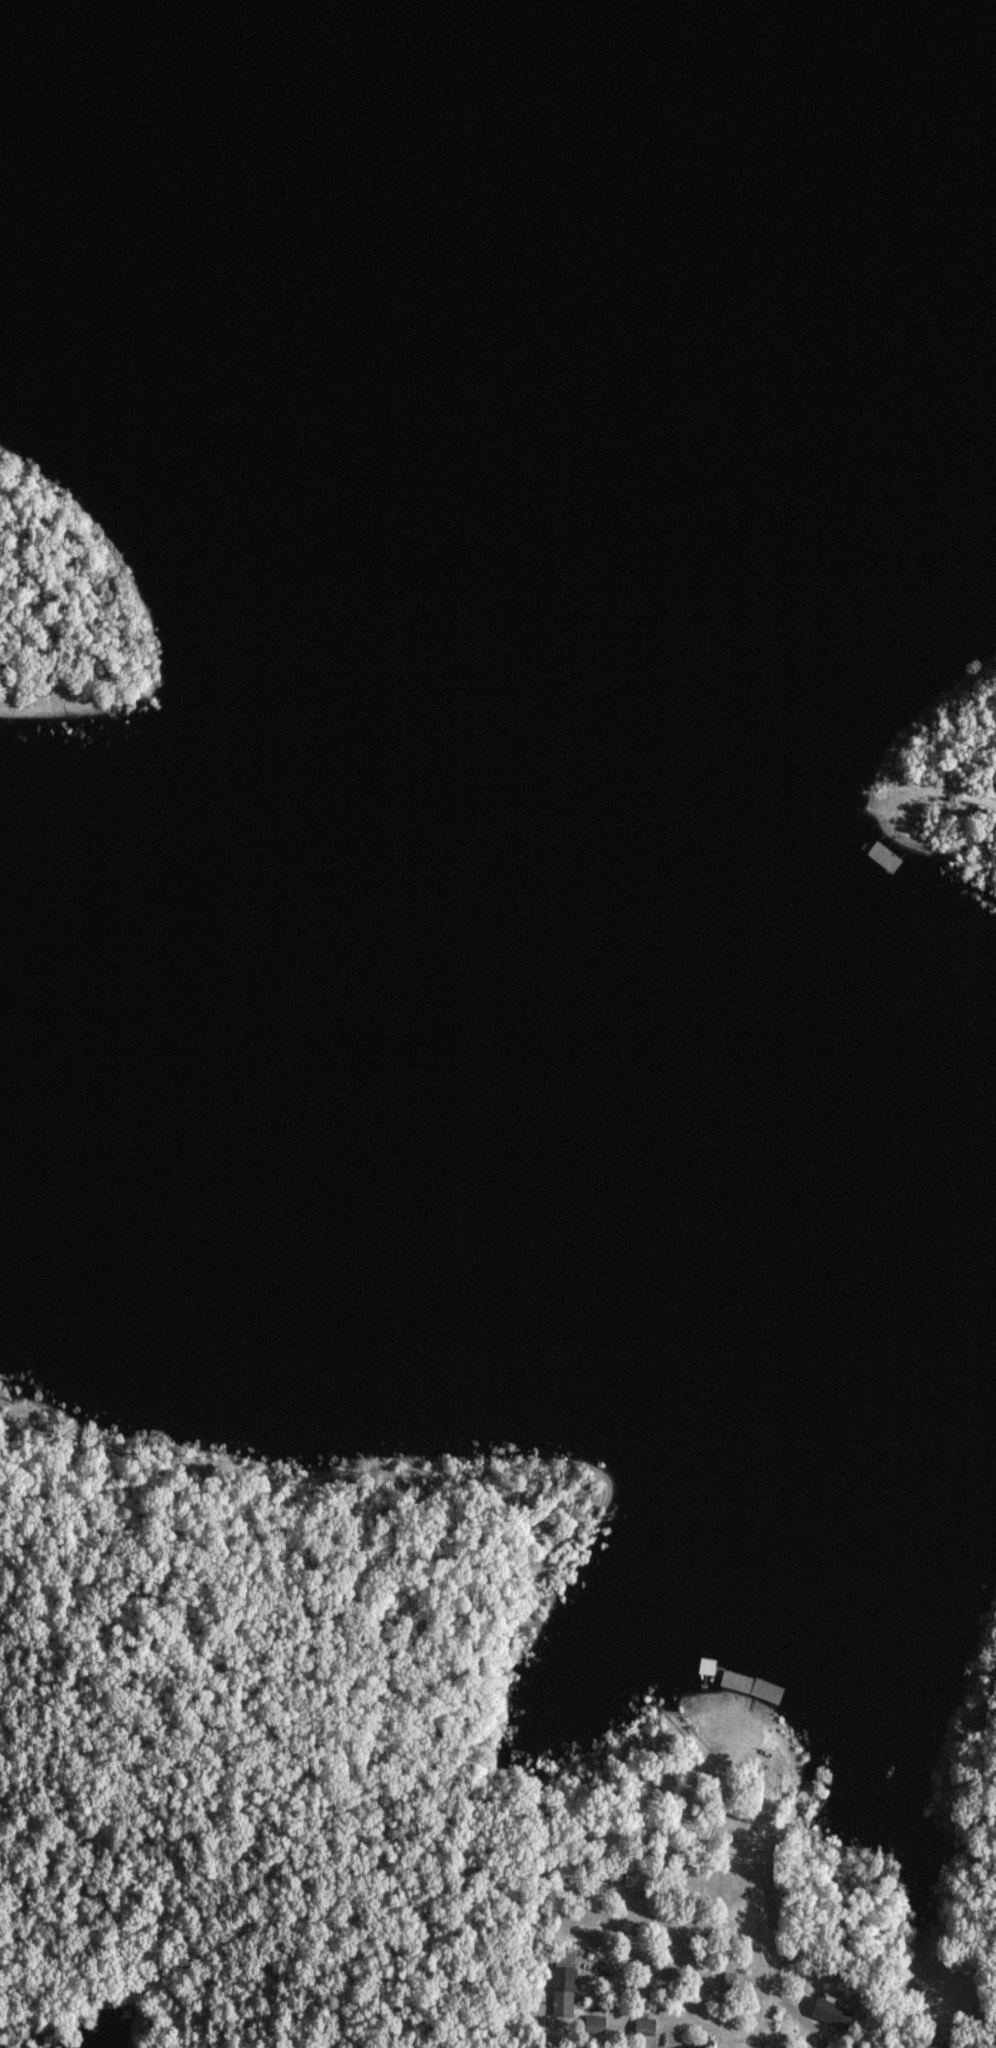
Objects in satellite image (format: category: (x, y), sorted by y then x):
road: (961, 789)
road: (958, 841)
road: (770, 1909)
building: (565, 1991)
building: (831, 2011)
road: (678, 2013)

